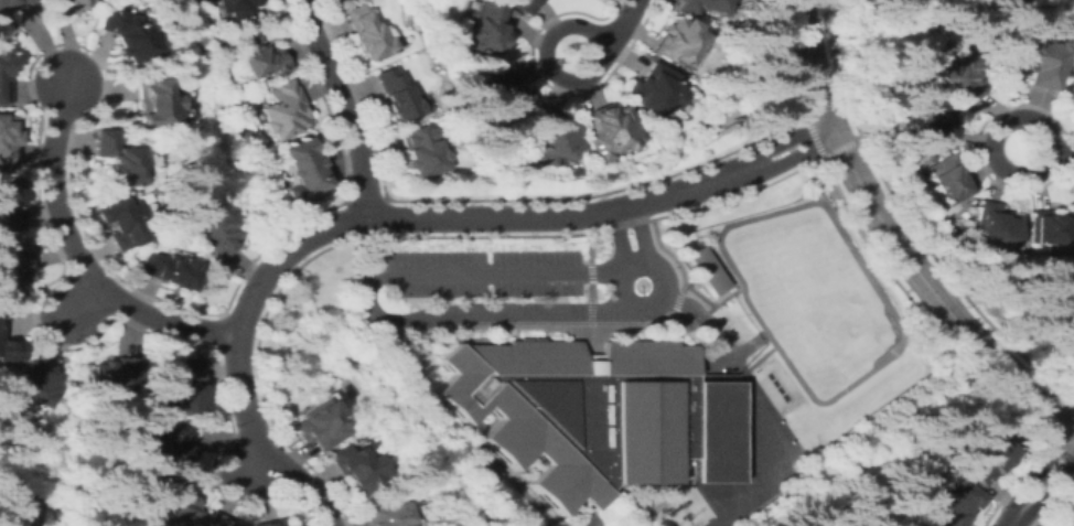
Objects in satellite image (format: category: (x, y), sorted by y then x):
building: (71, 3)
building: (12, 6)
building: (235, 7)
building: (524, 7)
building: (701, 8)
road: (616, 22)
building: (486, 28)
building: (365, 33)
building: (127, 34)
building: (678, 40)
building: (259, 56)
building: (1038, 60)
road: (556, 71)
building: (962, 76)
building: (4, 77)
building: (653, 87)
building: (503, 92)
building: (398, 96)
building: (152, 100)
road: (342, 107)
building: (280, 110)
road: (1029, 117)
building: (937, 124)
building: (609, 129)
building: (8, 137)
building: (552, 138)
building: (417, 151)
road: (1061, 155)
building: (115, 160)
building: (302, 170)
building: (949, 179)
building: (9, 203)
road: (401, 219)
building: (119, 222)
building: (995, 224)
building: (1050, 227)
building: (216, 229)
road: (642, 236)
road: (620, 239)
road: (892, 239)
street lamp: (530, 246)
street lamp: (462, 247)
street lamp: (393, 248)
road: (80, 259)
building: (12, 266)
road: (653, 266)
road: (861, 266)
building: (170, 269)
building: (704, 269)
parking lot: (477, 271)
park: (793, 273)
flagpole: (638, 285)
road: (589, 287)
road: (84, 297)
street lamp: (597, 298)
park: (812, 298)
street lamp: (460, 299)
road: (365, 302)
building: (0, 311)
street lamp: (676, 314)
park: (827, 324)
road: (672, 326)
road: (713, 335)
road: (747, 344)
building: (10, 350)
building: (114, 374)
building: (37, 384)
building: (184, 388)
building: (578, 409)
park: (749, 412)
building: (319, 423)
building: (715, 430)
building: (172, 448)
building: (990, 459)
road: (258, 463)
park: (749, 463)
building: (356, 465)
road: (500, 468)
park: (778, 471)
road: (781, 471)
road: (1042, 483)
road: (664, 490)
road: (670, 492)
park: (753, 494)
building: (173, 504)
building: (956, 504)
building: (20, 508)
building: (386, 514)
building: (215, 519)
building: (268, 522)
road: (590, 522)
building: (1070, 524)
building: (293, 525)
building: (920, 525)

